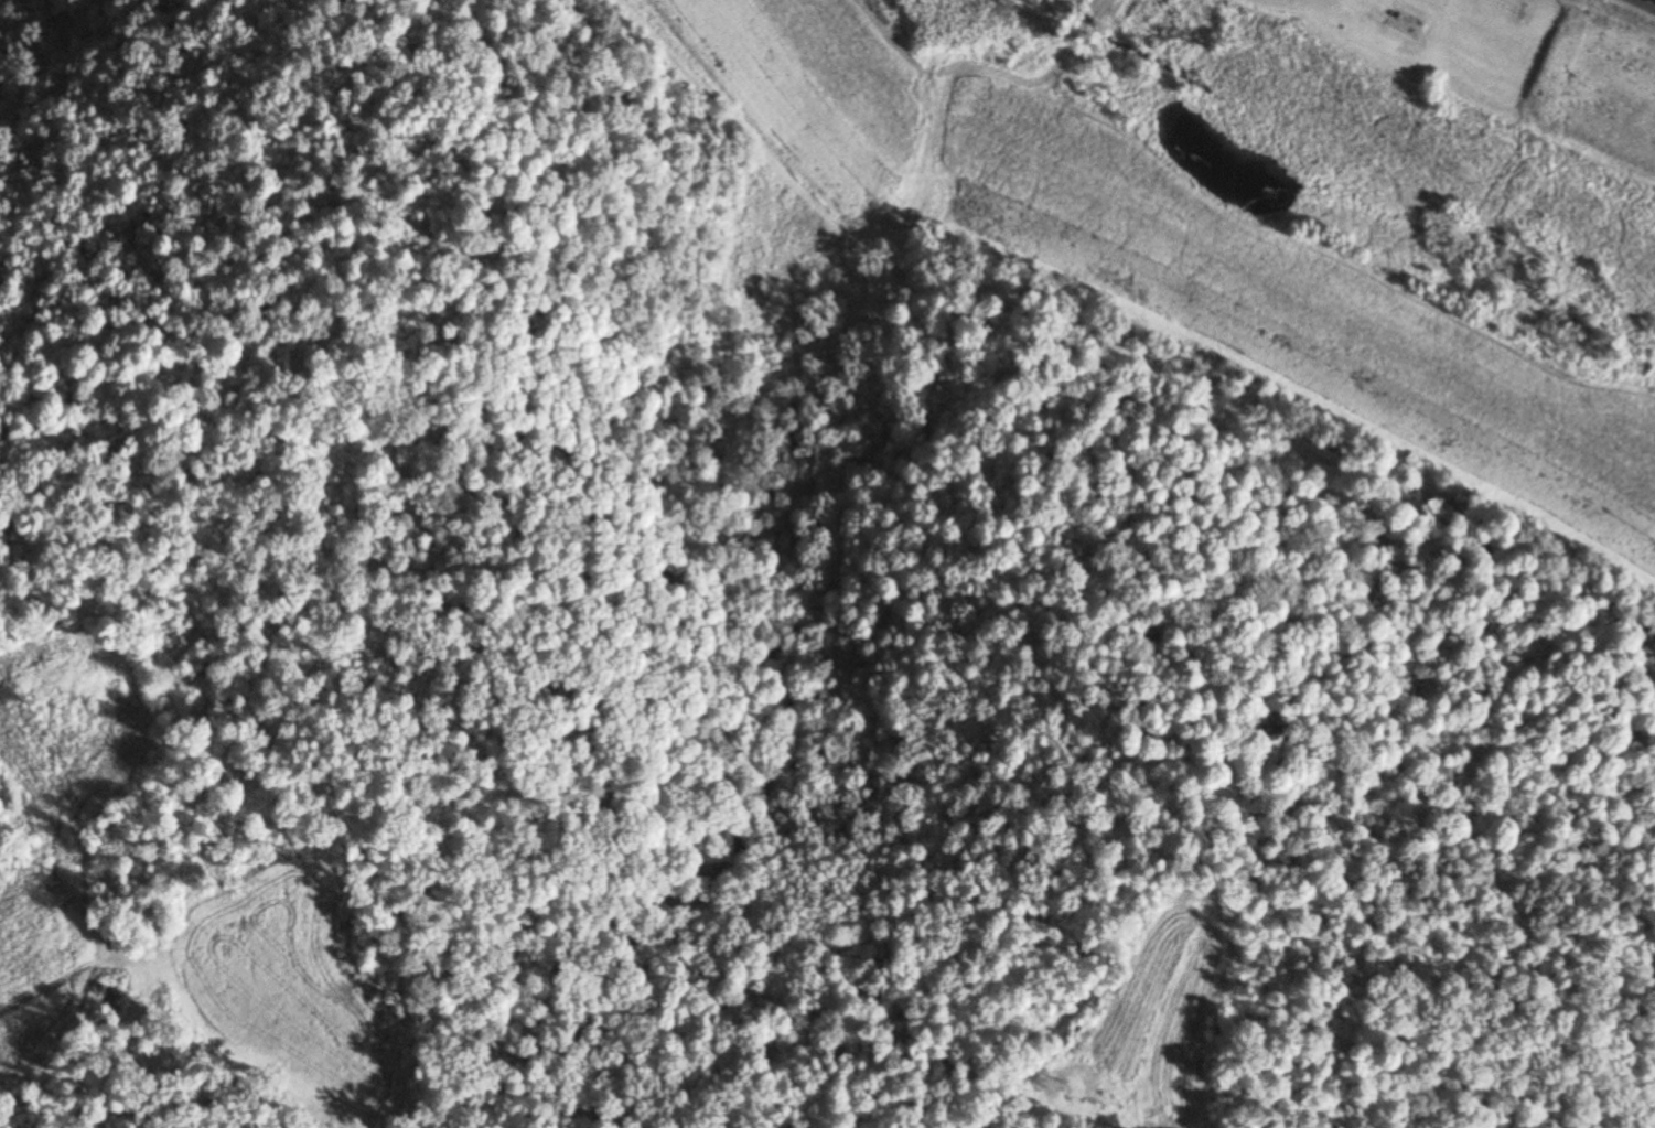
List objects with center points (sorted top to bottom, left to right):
road: (1648, 4)

